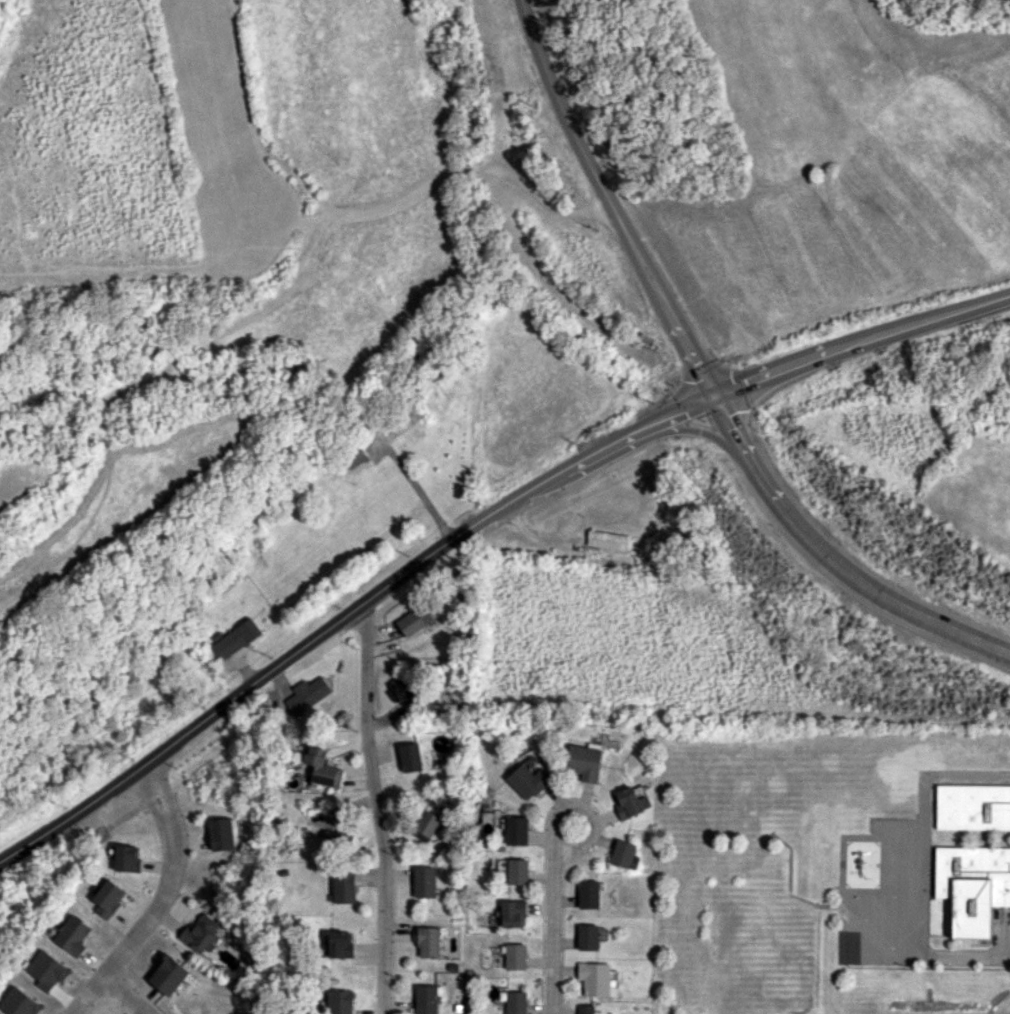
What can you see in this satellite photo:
road: (612, 200)
road: (860, 340)
building: (354, 457)
road: (416, 490)
building: (606, 540)
road: (832, 558)
road: (347, 613)
building: (414, 621)
building: (234, 639)
building: (401, 691)
building: (308, 693)
building: (409, 757)
building: (584, 761)
building: (532, 764)
building: (322, 767)
road: (935, 775)
building: (529, 781)
building: (629, 802)
building: (973, 807)
road: (378, 809)
building: (491, 820)
building: (427, 823)
building: (516, 830)
building: (220, 834)
road: (584, 846)
building: (622, 853)
building: (127, 858)
building: (517, 871)
building: (424, 882)
building: (971, 886)
building: (344, 887)
building: (588, 894)
building: (108, 898)
road: (158, 900)
building: (512, 913)
road: (553, 931)
building: (72, 935)
building: (199, 935)
building: (588, 937)
building: (427, 941)
road: (898, 942)
building: (340, 944)
building: (515, 956)
building: (167, 974)
building: (594, 978)
road: (124, 993)
building: (426, 999)
building: (339, 1002)
building: (516, 1002)
building: (586, 1009)

